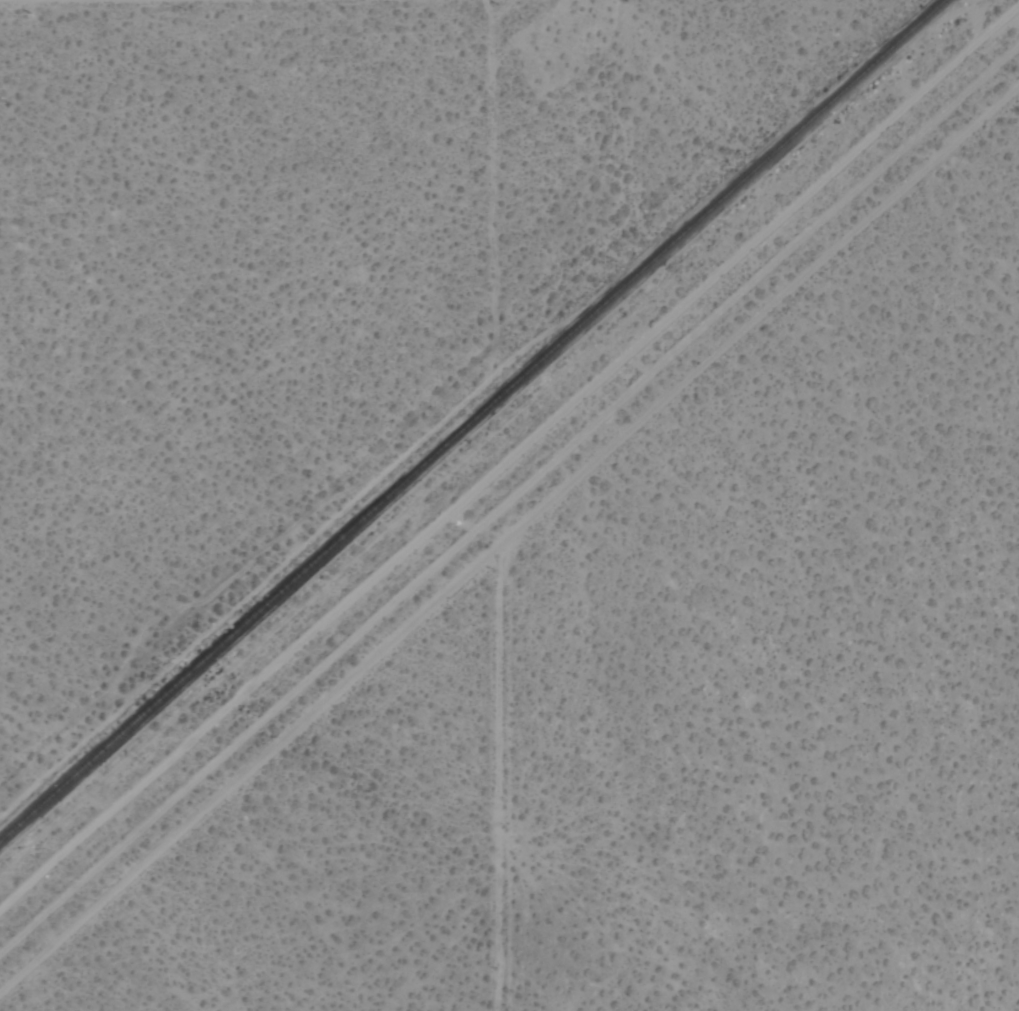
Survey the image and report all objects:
road: (38, 0)
road: (492, 155)
railway: (473, 422)
road: (509, 502)
road: (508, 540)
road: (494, 777)

